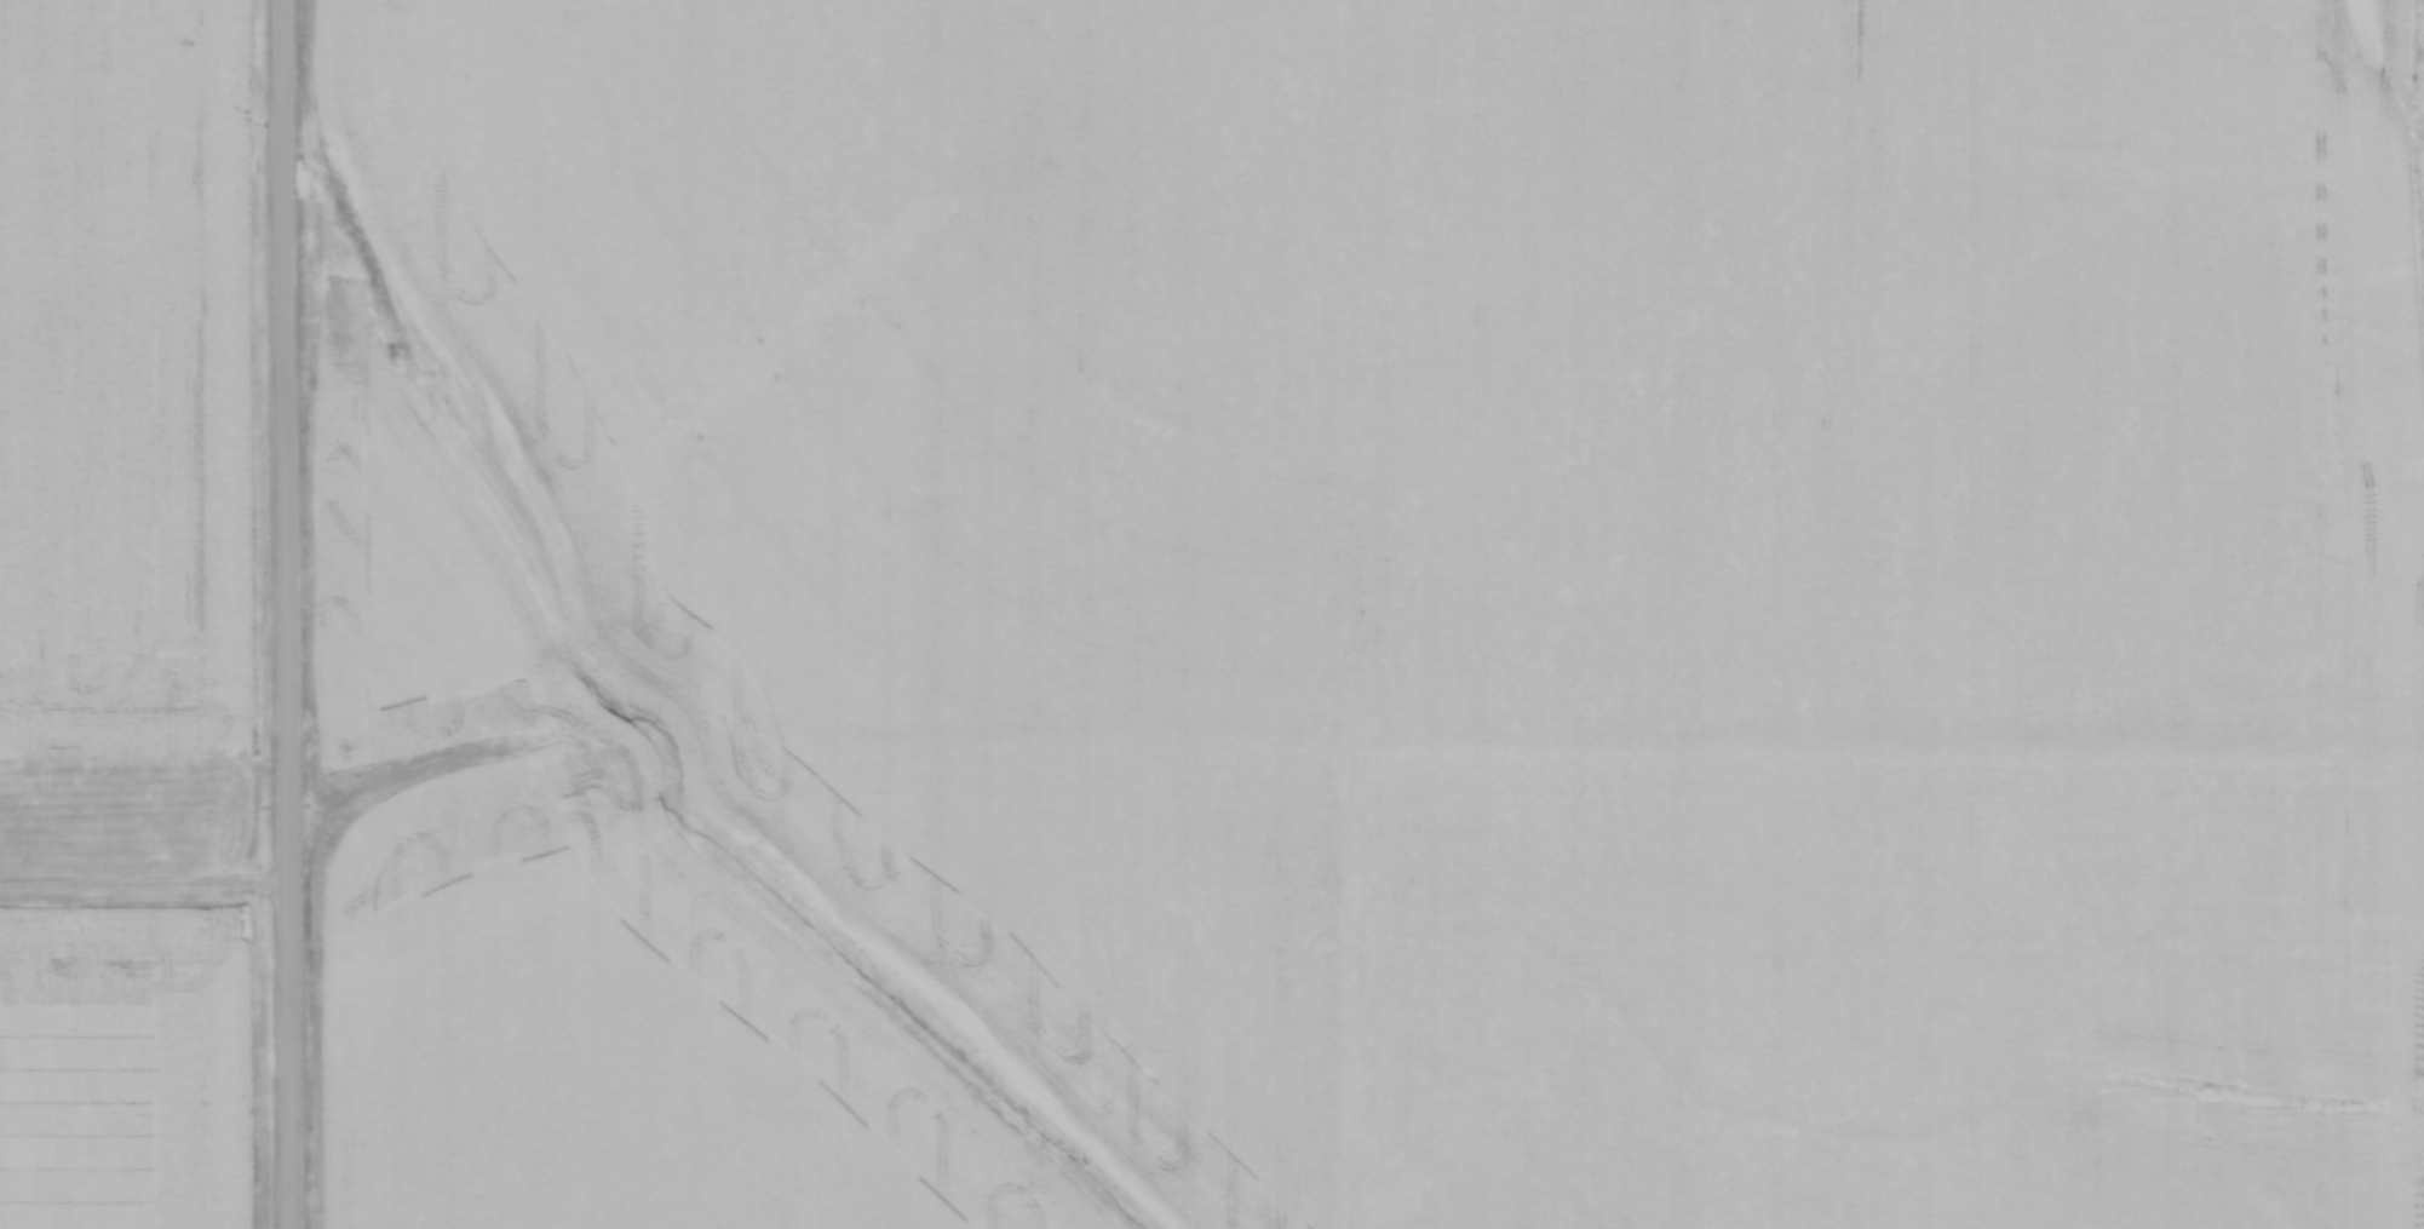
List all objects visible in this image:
road: (286, 614)
road: (144, 892)

